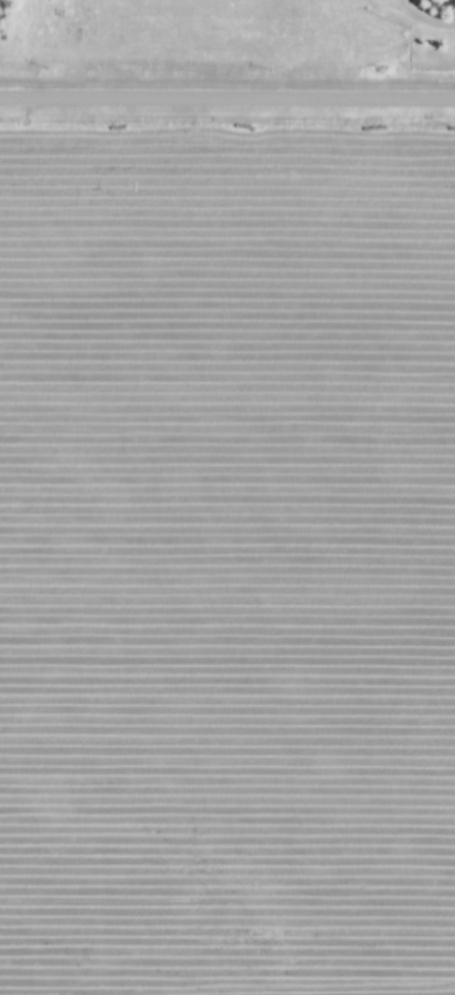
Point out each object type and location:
road: (420, 20)
road: (227, 100)

